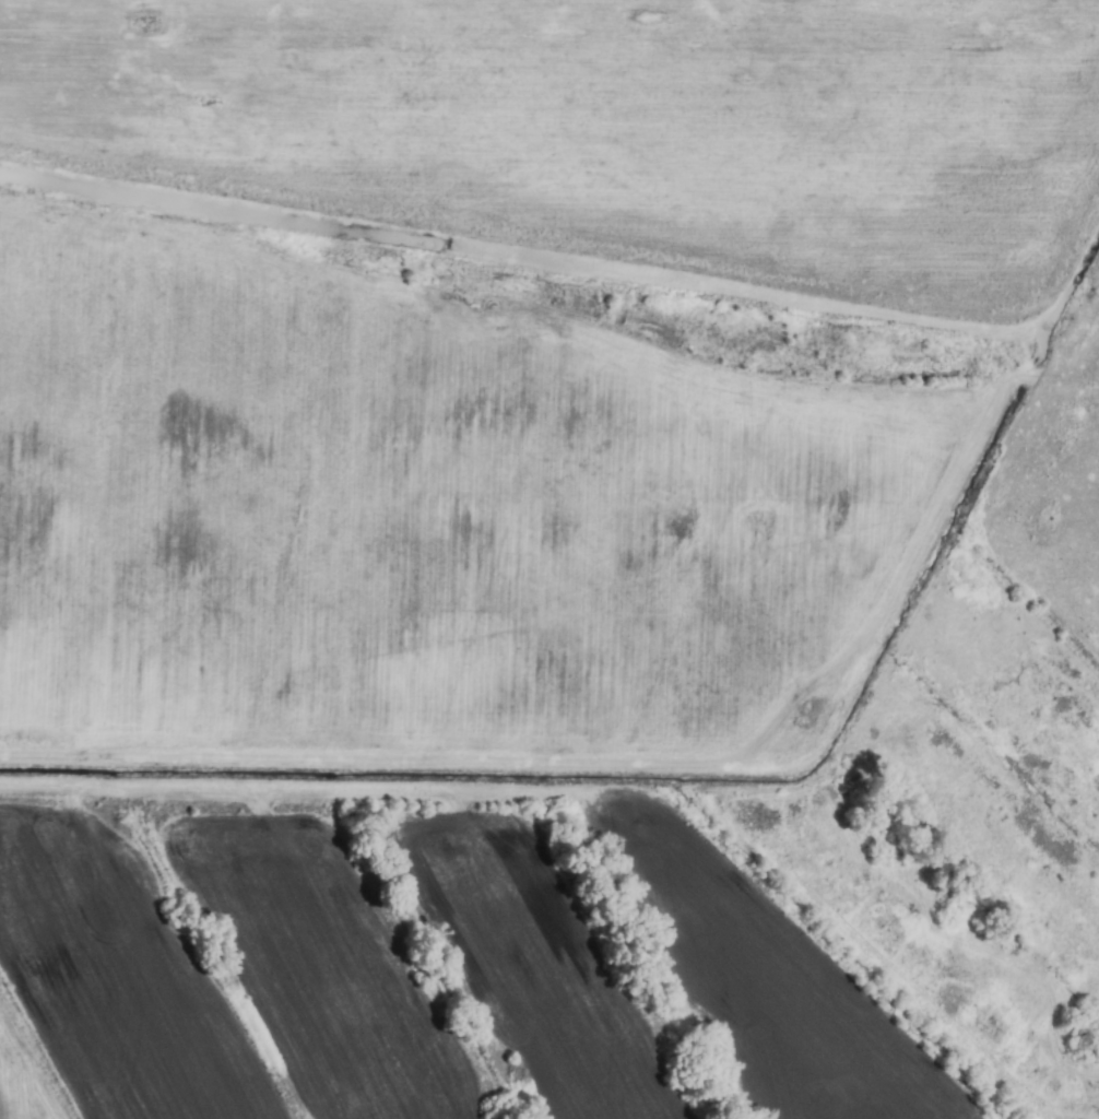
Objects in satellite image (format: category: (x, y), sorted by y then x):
crop: (549, 559)

